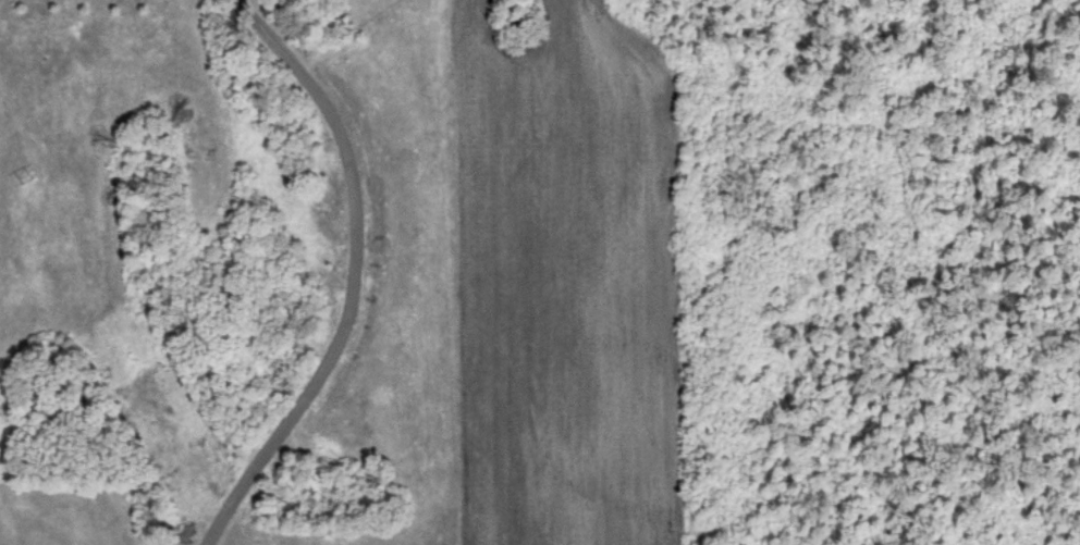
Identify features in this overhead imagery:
road: (351, 273)

